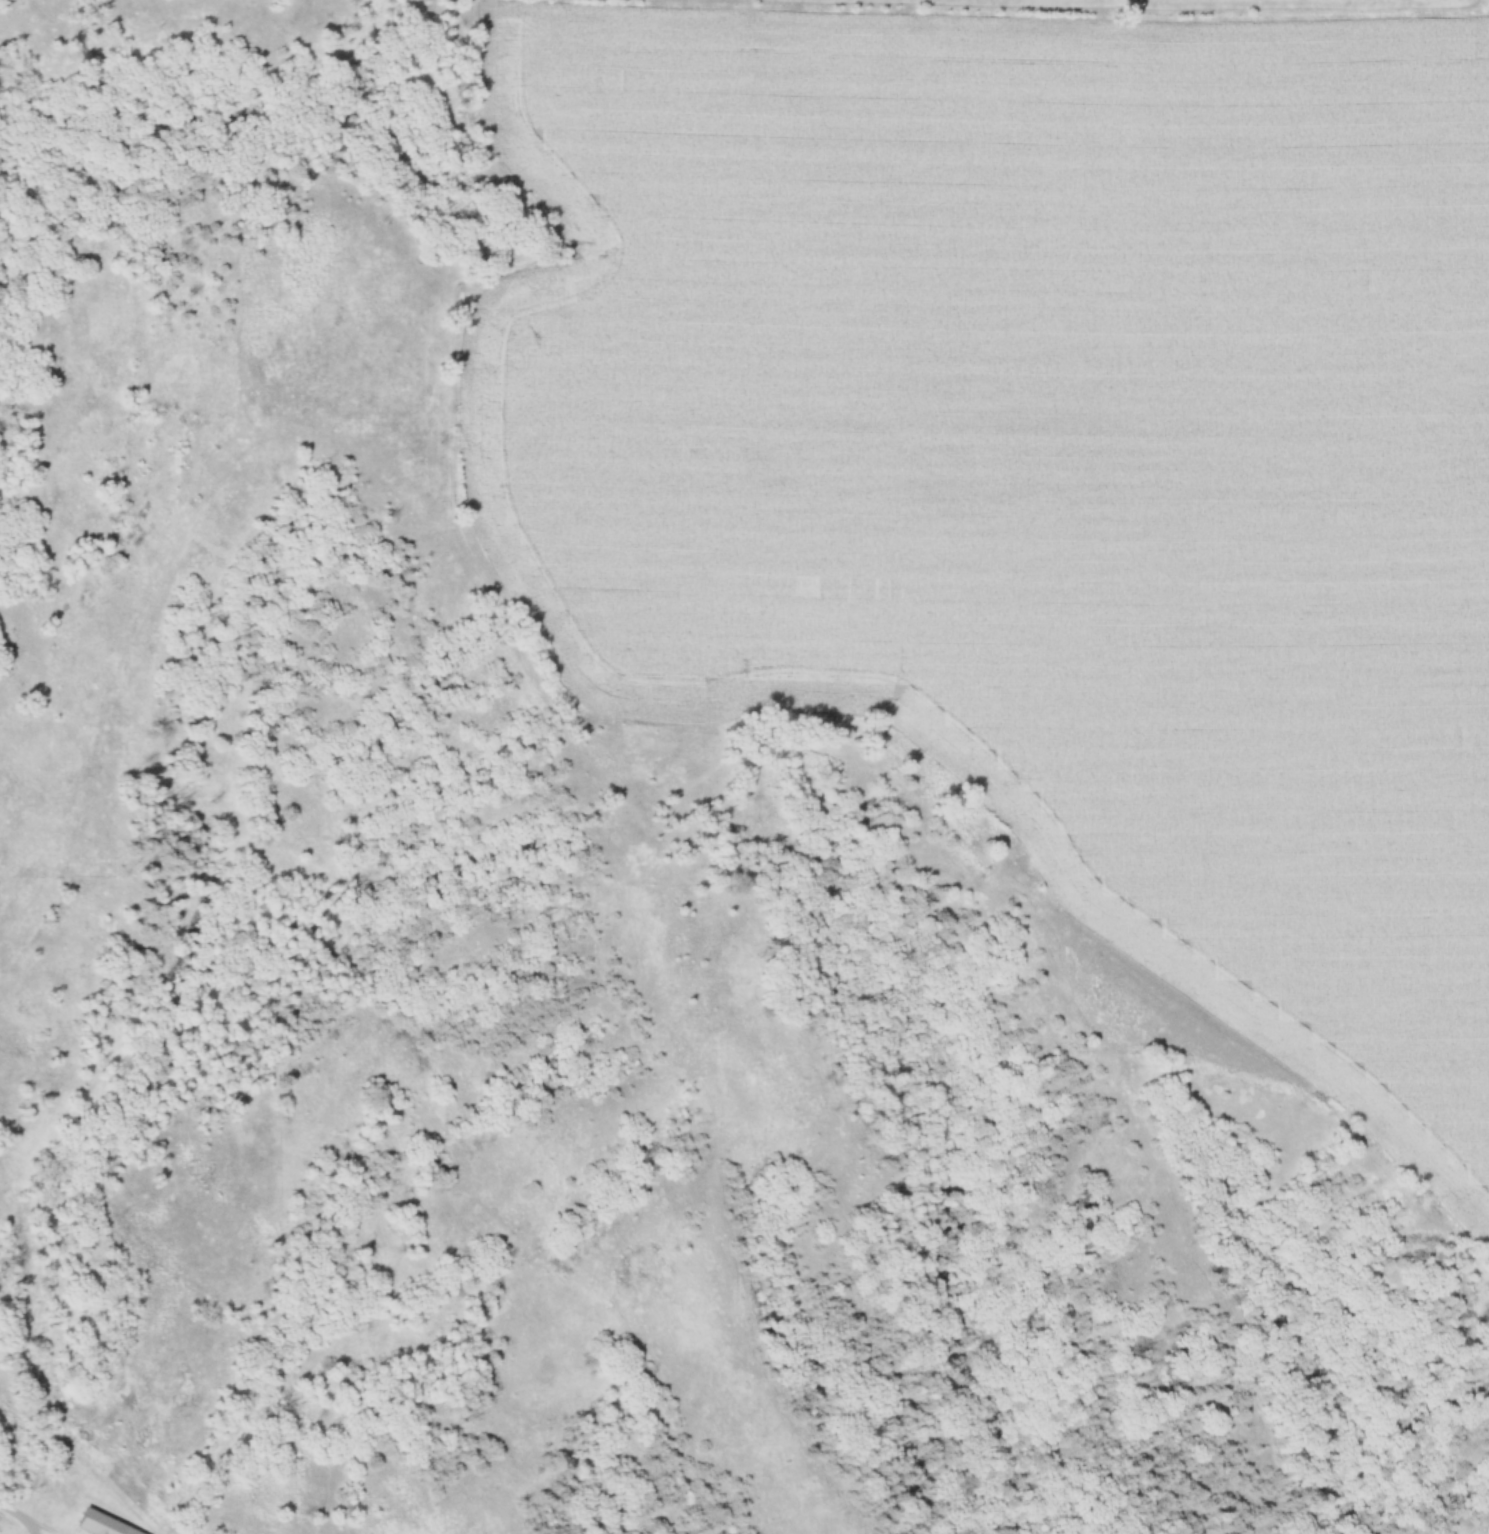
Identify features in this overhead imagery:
road: (16, 1510)
building: (97, 1524)
road: (33, 1526)
road: (48, 1526)

